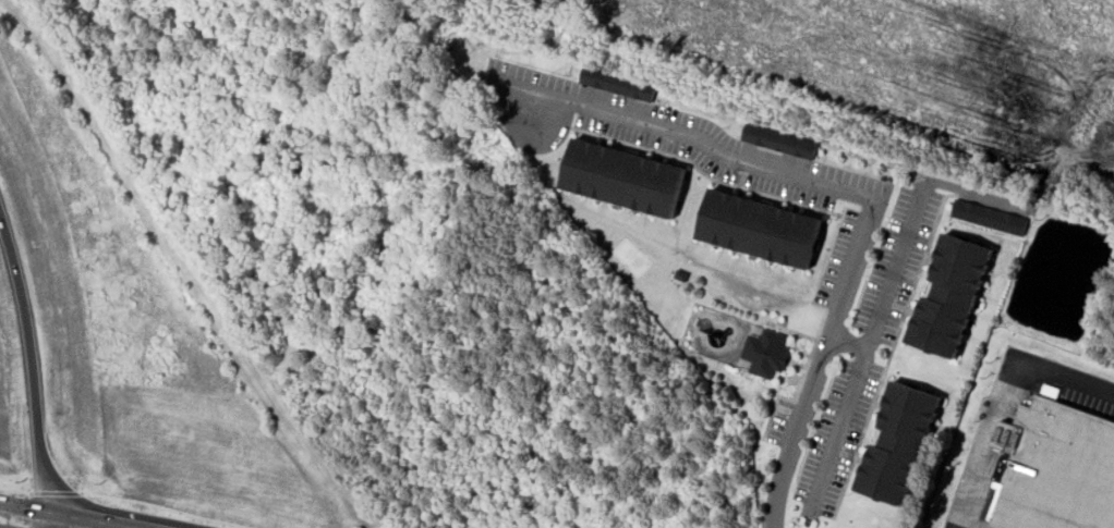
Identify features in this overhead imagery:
building: (617, 78)
building: (780, 136)
building: (627, 176)
road: (868, 188)
building: (991, 212)
building: (764, 226)
road: (885, 283)
building: (954, 296)
road: (844, 339)
building: (765, 352)
road: (32, 361)
building: (896, 439)
building: (1056, 470)
road: (14, 488)
road: (53, 491)
road: (22, 507)
road: (166, 507)
traffic signals: (80, 518)
road: (43, 519)
road: (88, 519)

